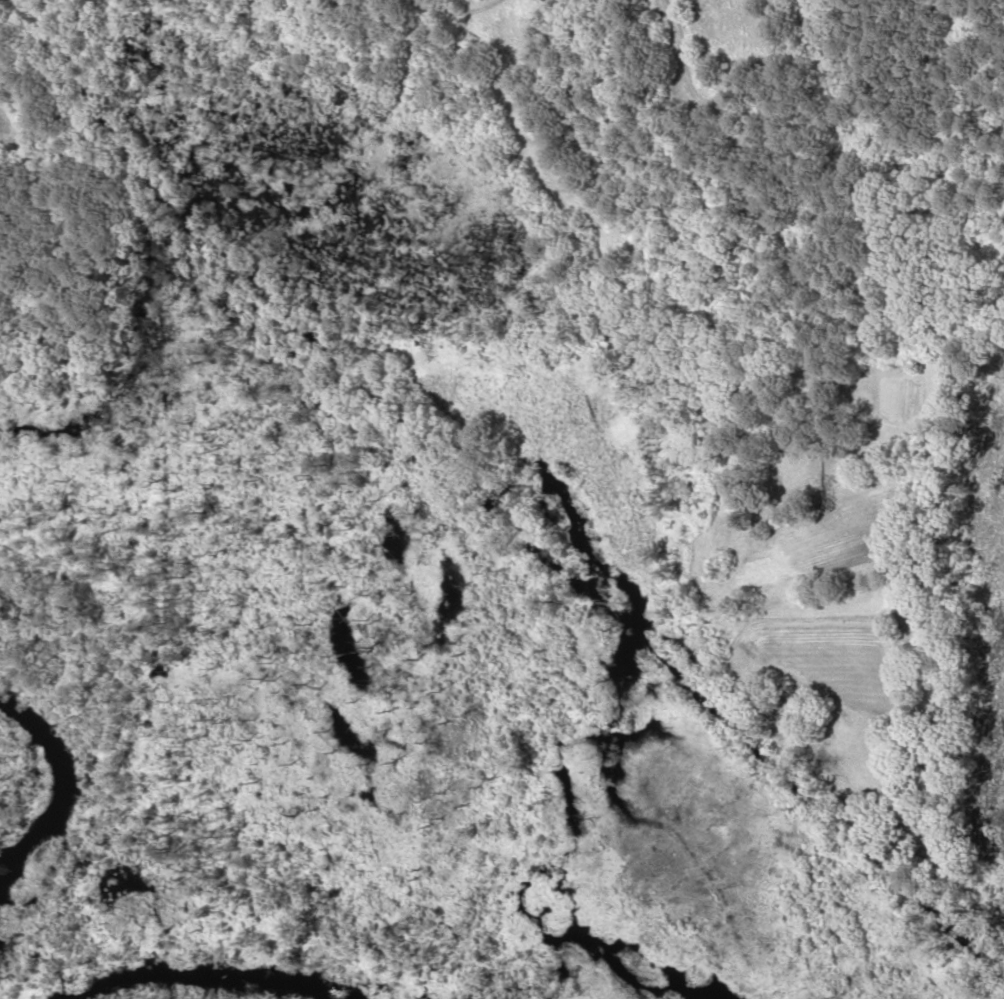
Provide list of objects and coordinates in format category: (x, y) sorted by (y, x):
road: (935, 167)

